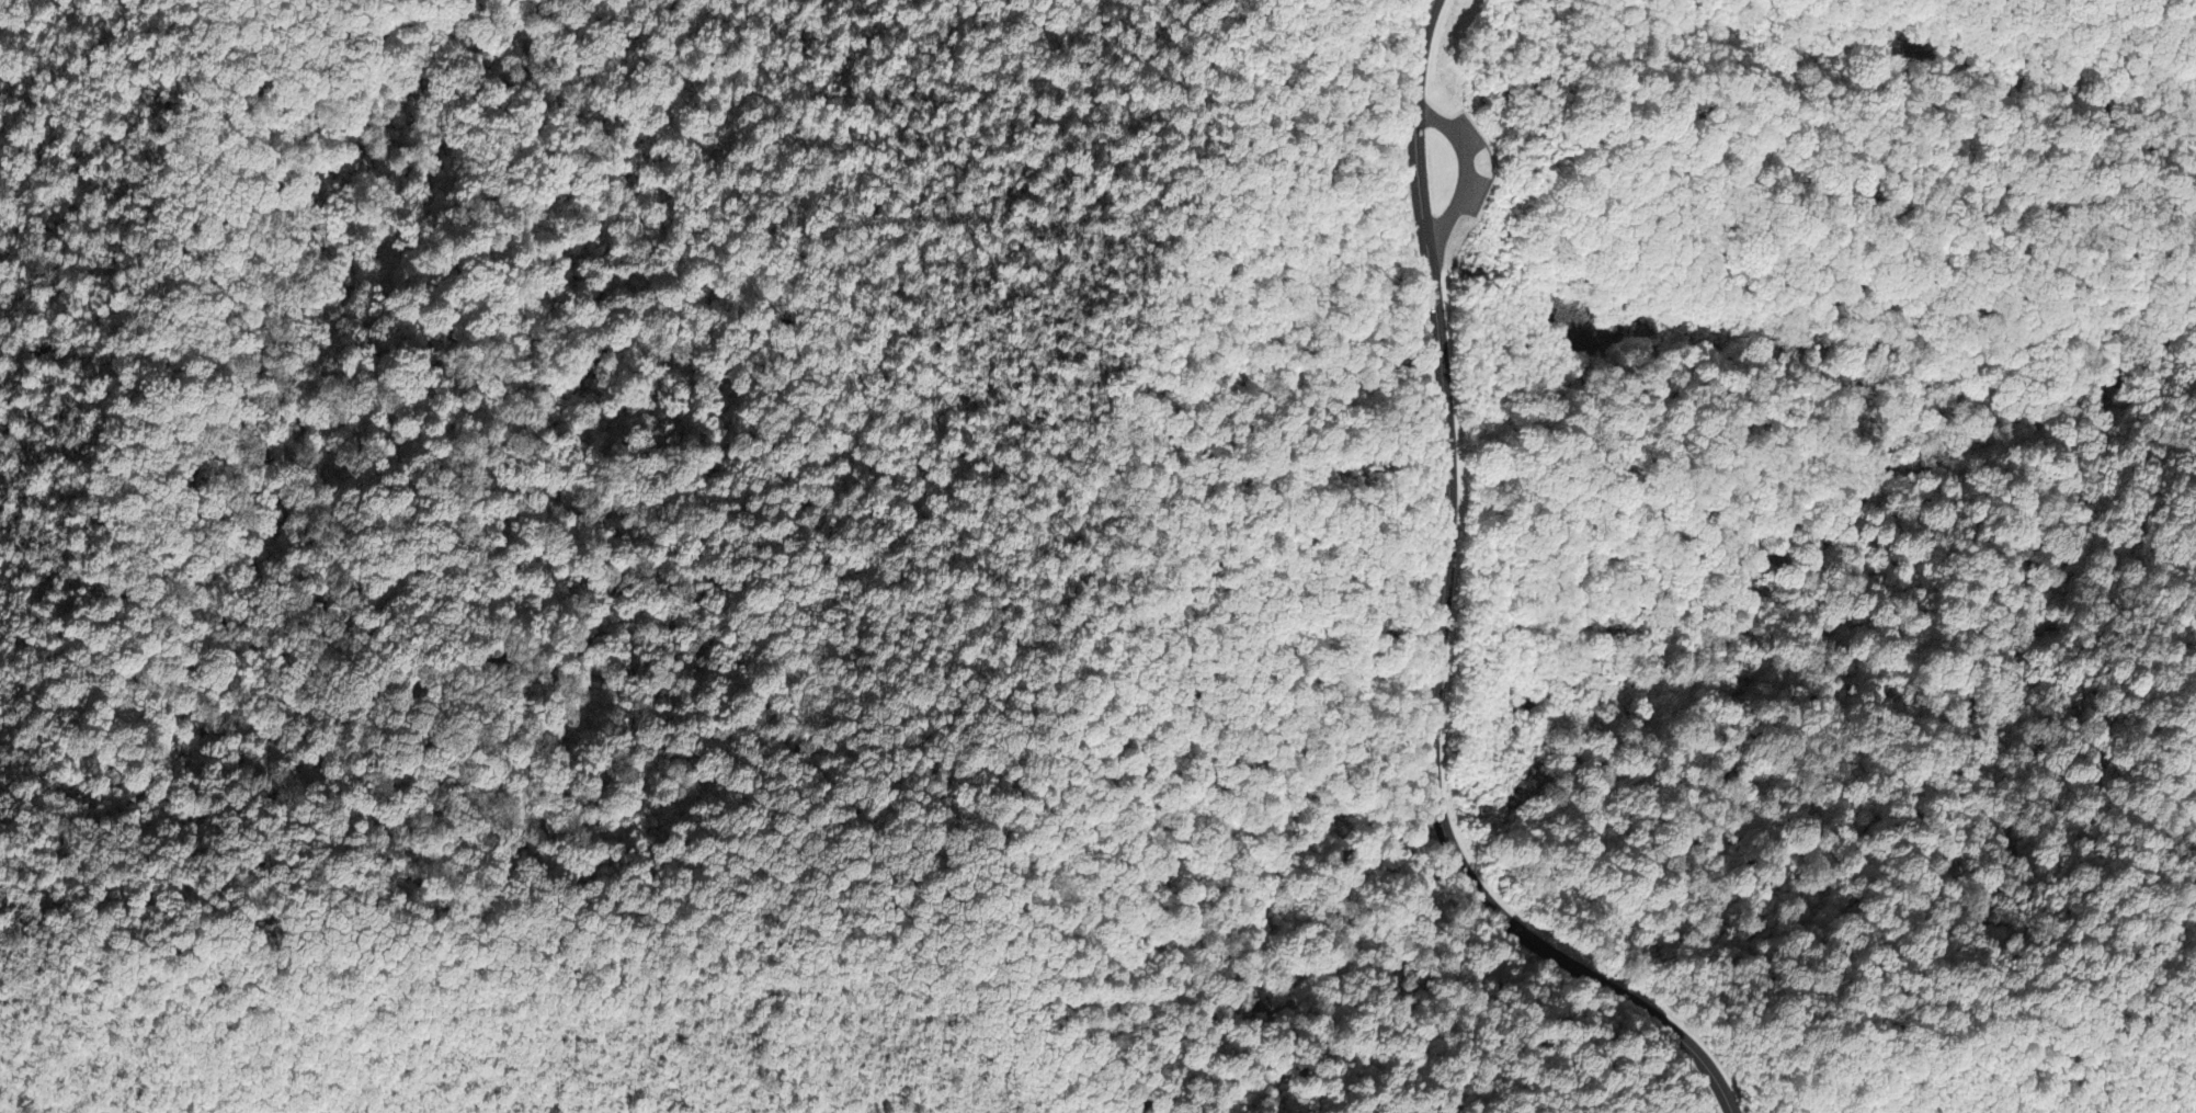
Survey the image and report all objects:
parking lot: (1469, 161)
road: (1469, 167)
road: (1332, 575)
road: (1443, 622)

